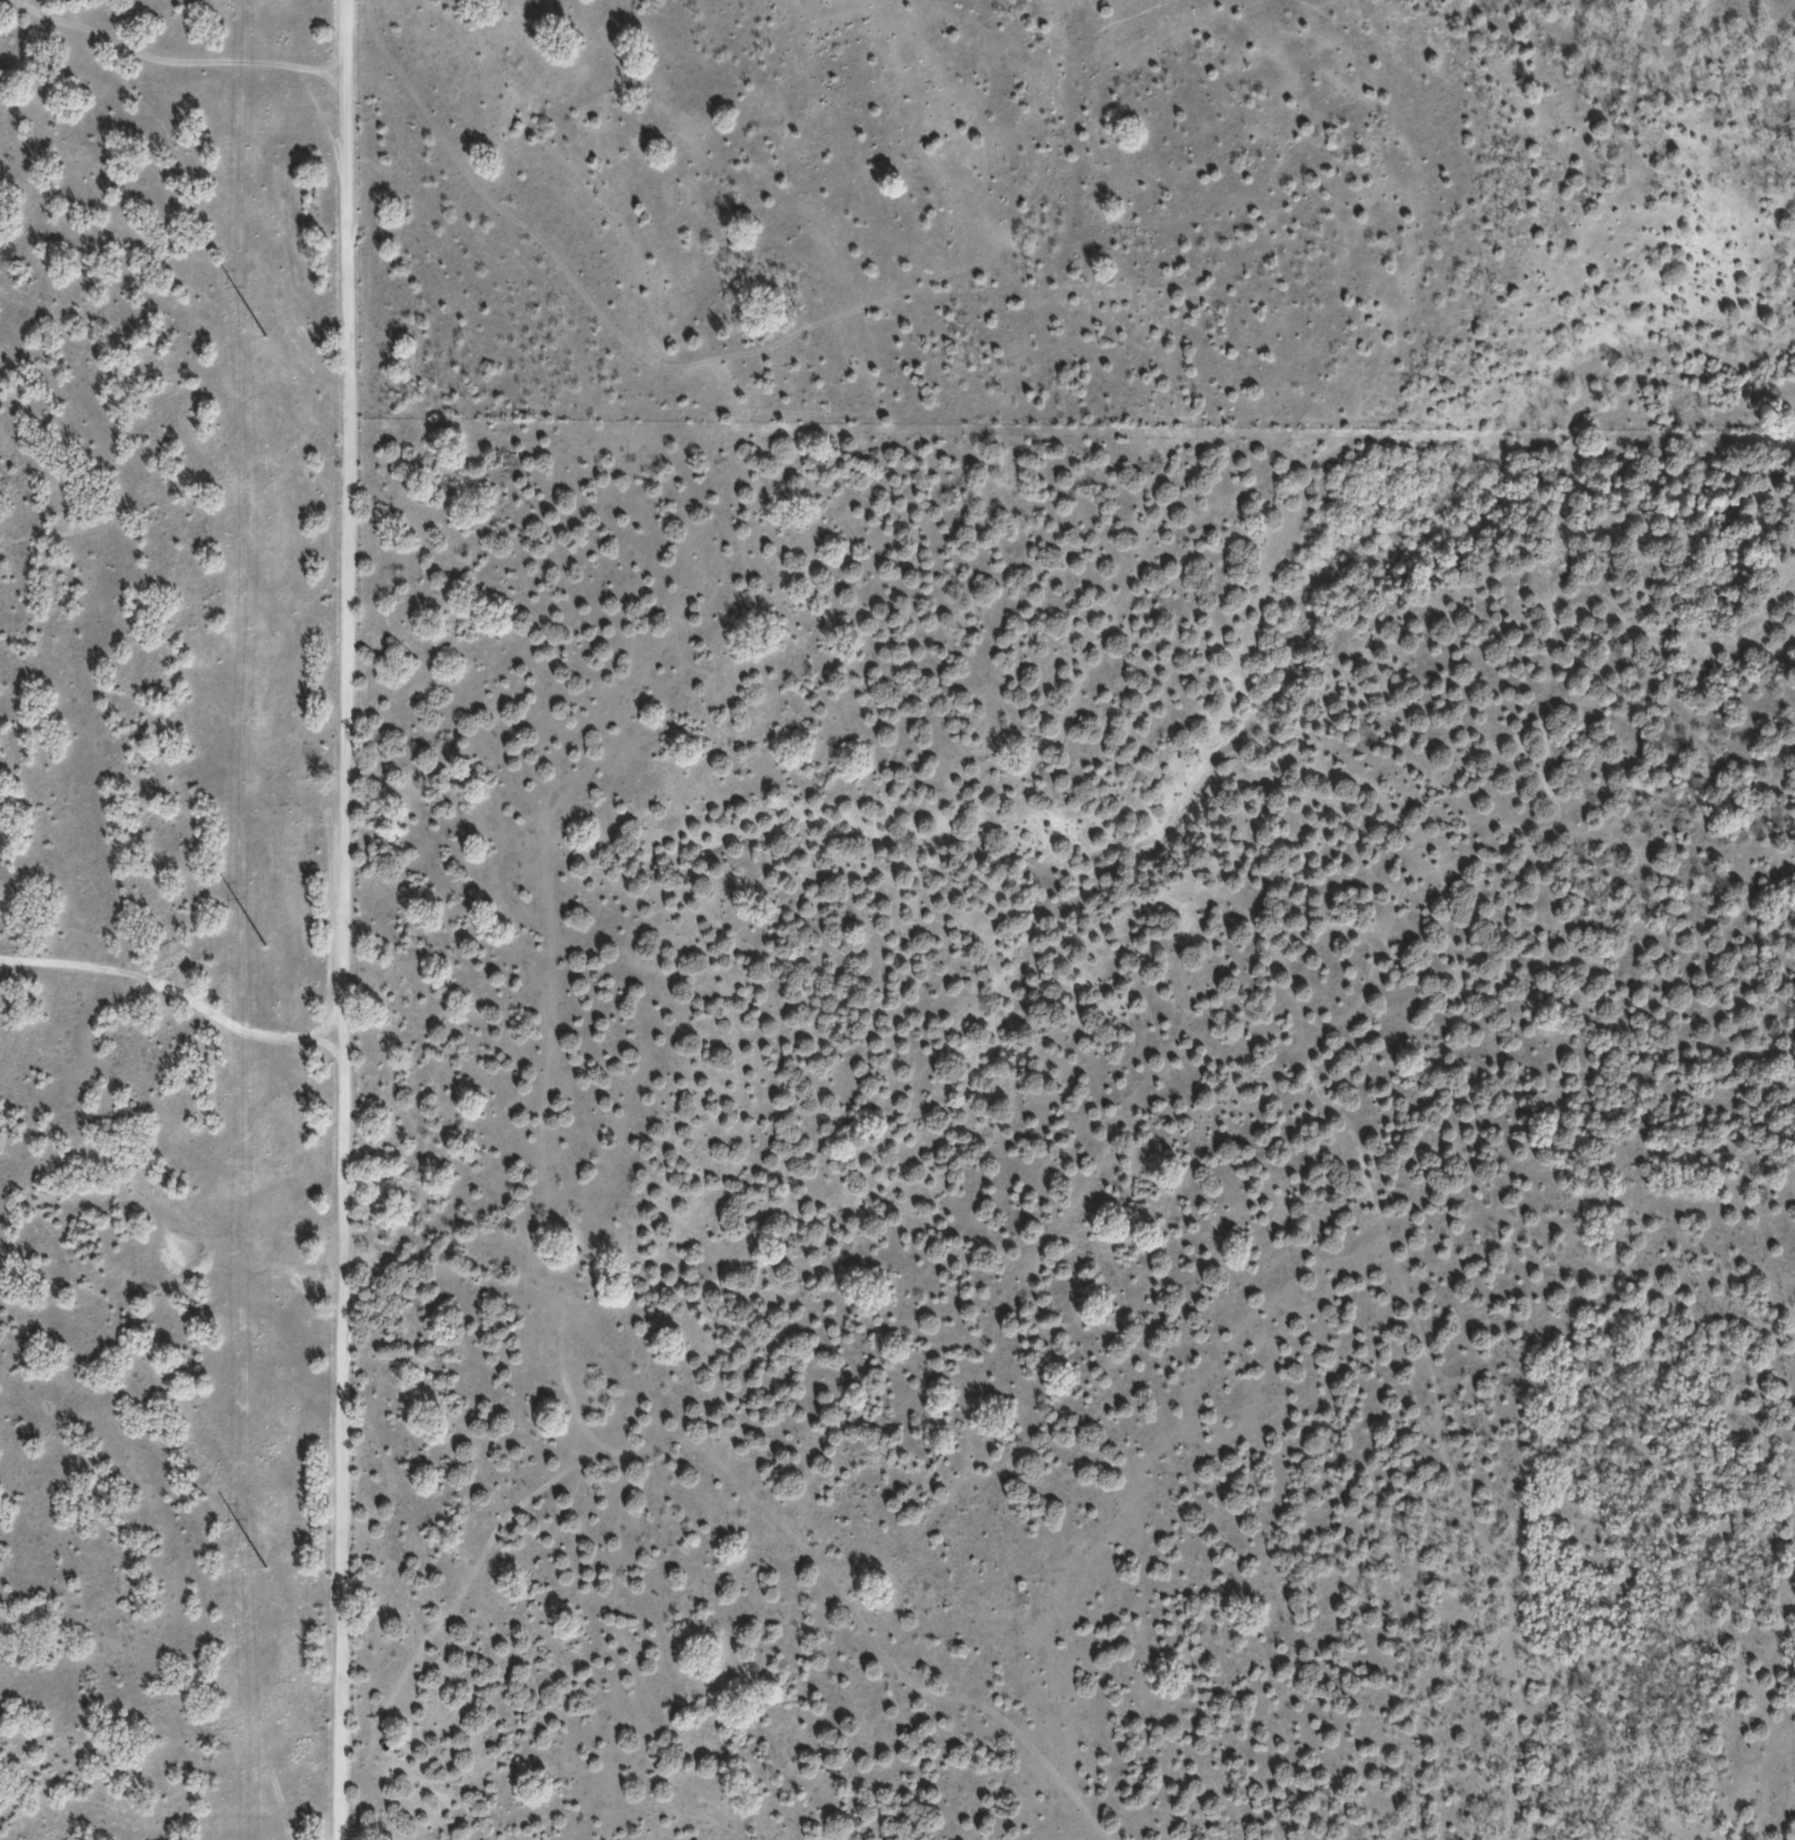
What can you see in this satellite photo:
power tower: (264, 336)
road: (175, 512)
road: (349, 920)
power tower: (266, 948)
road: (762, 1526)
power tower: (264, 1568)

